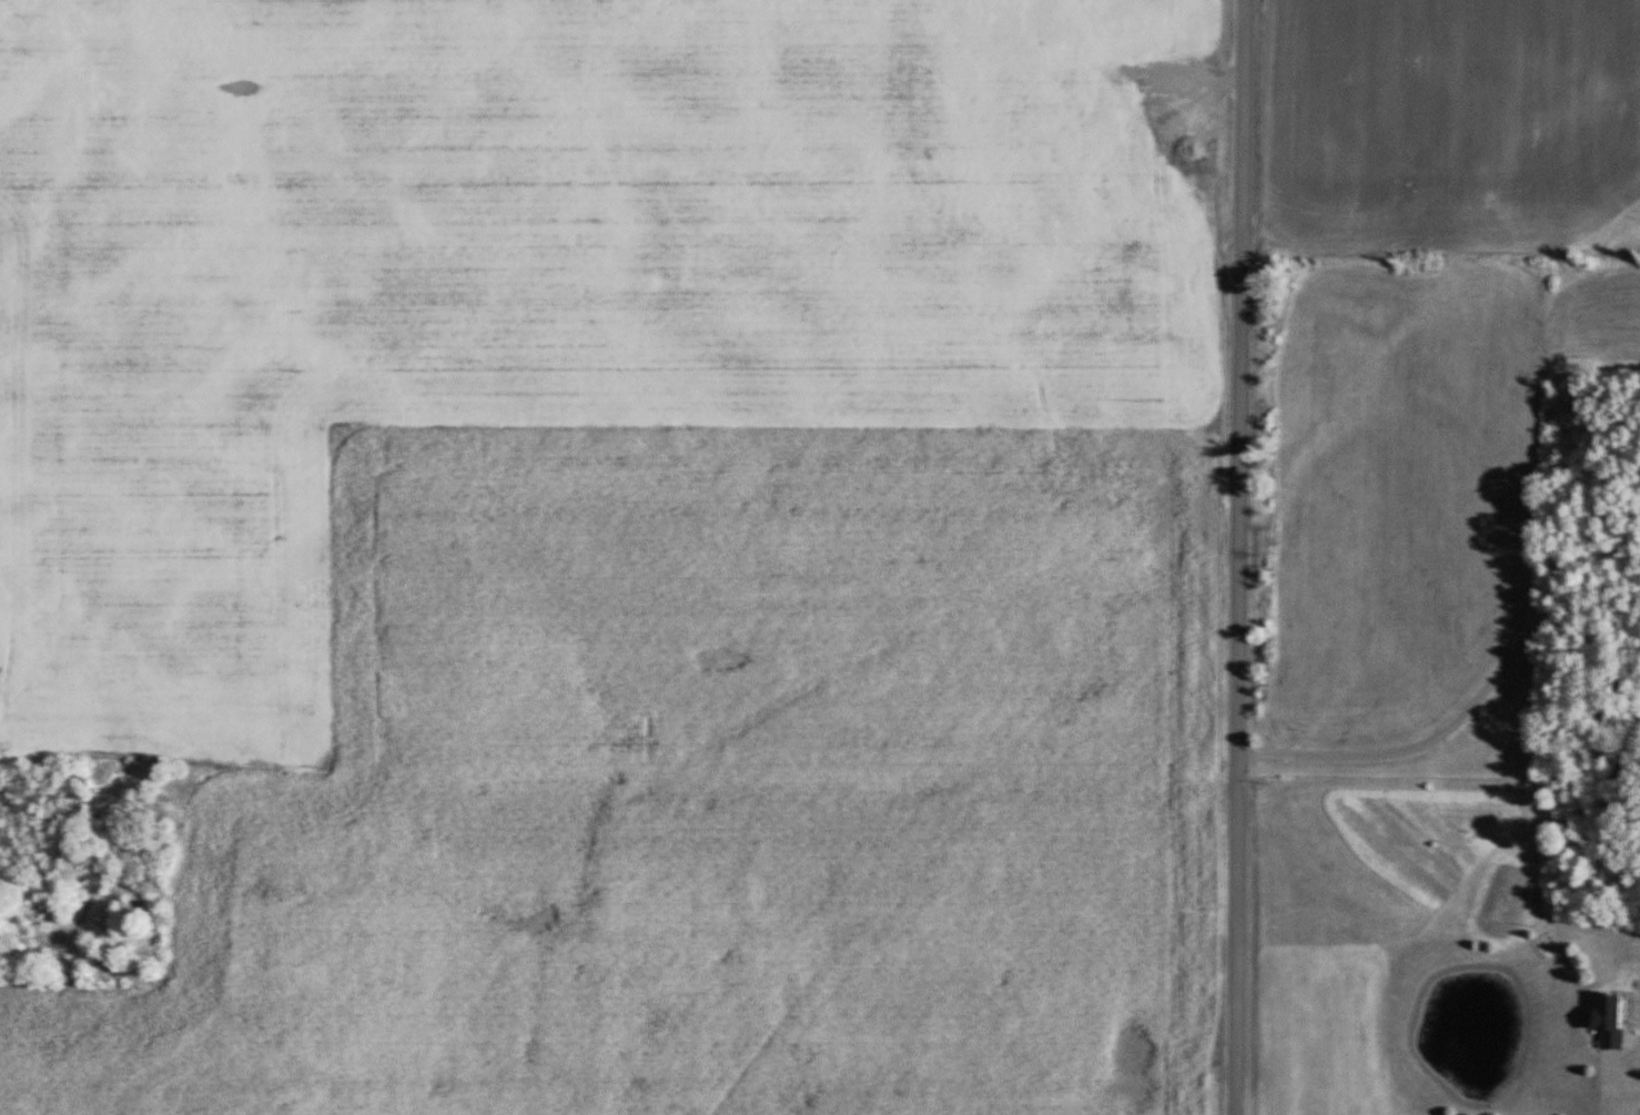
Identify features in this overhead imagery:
road: (1234, 557)
road: (1459, 713)
building: (1608, 1021)
road: (1610, 1107)

